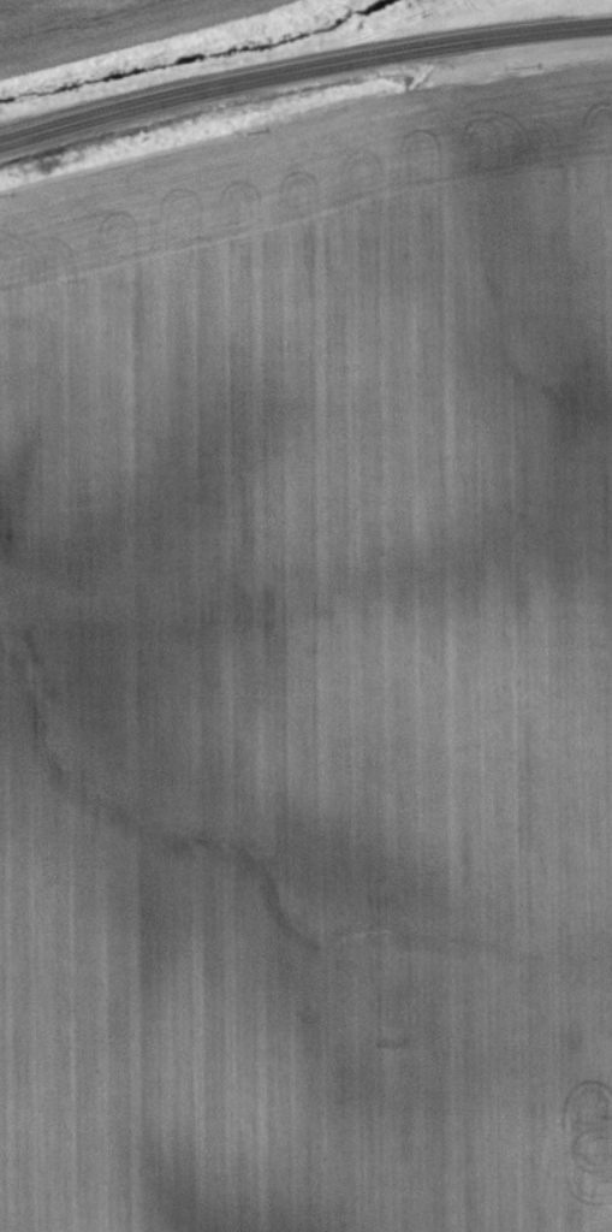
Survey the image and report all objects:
road: (302, 70)

